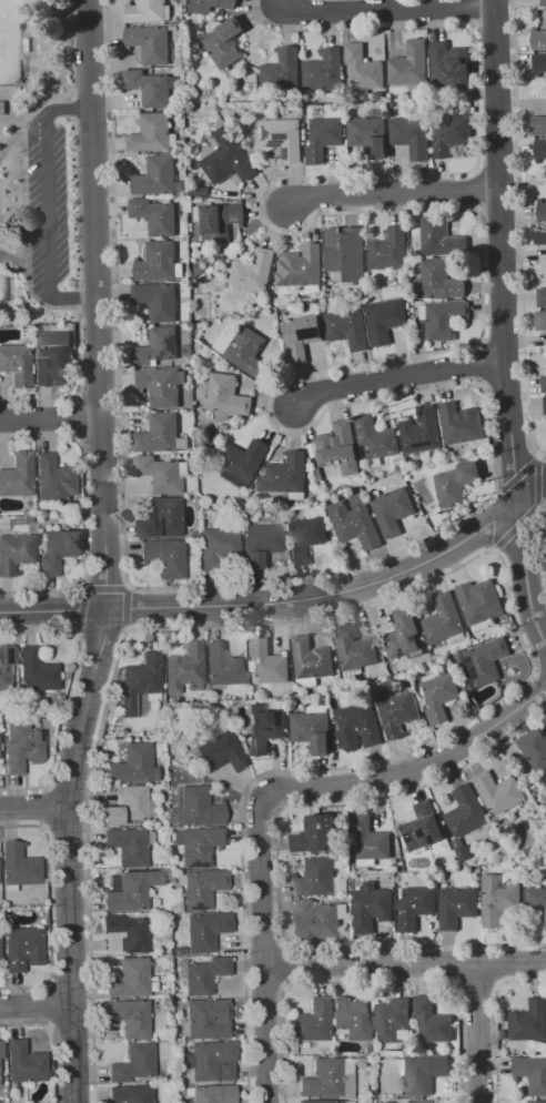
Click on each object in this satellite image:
building: (545, 2)
building: (210, 6)
road: (387, 8)
building: (146, 11)
building: (538, 39)
building: (222, 42)
building: (149, 43)
park: (10, 51)
building: (540, 62)
building: (410, 64)
building: (449, 65)
building: (363, 68)
road: (32, 70)
building: (282, 70)
building: (323, 70)
road: (50, 88)
building: (148, 88)
road: (39, 103)
road: (13, 107)
building: (230, 113)
road: (19, 123)
building: (538, 125)
building: (151, 133)
building: (451, 133)
building: (367, 134)
building: (412, 135)
building: (283, 138)
building: (323, 138)
building: (539, 149)
building: (226, 159)
park: (44, 163)
building: (155, 175)
building: (201, 192)
road: (394, 192)
parking lot: (49, 201)
road: (47, 204)
building: (542, 210)
building: (154, 215)
building: (219, 222)
road: (520, 231)
building: (539, 234)
building: (441, 237)
building: (388, 249)
building: (343, 250)
road: (504, 251)
road: (16, 261)
building: (156, 262)
building: (301, 265)
building: (254, 271)
building: (437, 281)
building: (180, 292)
building: (542, 297)
building: (156, 300)
building: (443, 318)
building: (385, 320)
building: (540, 320)
building: (347, 327)
building: (301, 335)
building: (156, 346)
building: (246, 351)
building: (51, 356)
building: (16, 365)
road: (401, 377)
building: (544, 383)
building: (161, 385)
building: (228, 395)
building: (183, 401)
building: (545, 404)
road: (49, 422)
building: (461, 423)
building: (422, 431)
building: (160, 434)
building: (376, 436)
building: (338, 447)
building: (242, 463)
road: (518, 472)
building: (160, 473)
building: (18, 475)
building: (286, 475)
building: (54, 479)
road: (538, 479)
building: (456, 483)
road: (530, 490)
building: (393, 509)
building: (162, 518)
road: (495, 519)
building: (355, 522)
road: (516, 528)
building: (306, 538)
road: (539, 542)
building: (260, 543)
building: (218, 545)
building: (57, 550)
building: (16, 553)
road: (104, 553)
building: (164, 557)
road: (524, 574)
building: (479, 600)
road: (270, 605)
building: (443, 619)
building: (402, 634)
building: (354, 648)
building: (311, 658)
building: (486, 660)
building: (267, 661)
building: (6, 666)
building: (224, 666)
building: (184, 669)
building: (37, 670)
building: (140, 680)
building: (266, 691)
building: (254, 692)
building: (439, 696)
building: (397, 714)
building: (357, 726)
building: (264, 730)
building: (312, 730)
building: (21, 747)
building: (535, 748)
building: (221, 751)
building: (134, 765)
road: (414, 767)
building: (544, 778)
building: (498, 791)
building: (545, 798)
building: (128, 806)
road: (34, 807)
building: (200, 807)
building: (465, 811)
building: (422, 827)
building: (317, 834)
building: (370, 838)
building: (129, 846)
building: (198, 846)
building: (463, 853)
building: (19, 866)
building: (316, 877)
building: (341, 884)
building: (202, 888)
building: (128, 893)
building: (498, 899)
building: (535, 899)
building: (457, 905)
building: (371, 907)
building: (416, 907)
building: (318, 917)
building: (205, 930)
building: (128, 932)
building: (23, 948)
road: (261, 949)
road: (404, 963)
building: (204, 974)
building: (130, 978)
road: (37, 1003)
building: (130, 1018)
building: (351, 1018)
building: (205, 1021)
building: (312, 1021)
building: (392, 1021)
building: (432, 1021)
building: (529, 1021)
road: (478, 1033)
building: (1, 1049)
building: (210, 1061)
building: (26, 1063)
building: (133, 1063)
building: (532, 1072)
building: (423, 1073)
building: (346, 1077)
building: (323, 1079)
building: (130, 1094)
building: (213, 1094)
building: (419, 1101)
building: (537, 1101)
building: (322, 1102)

